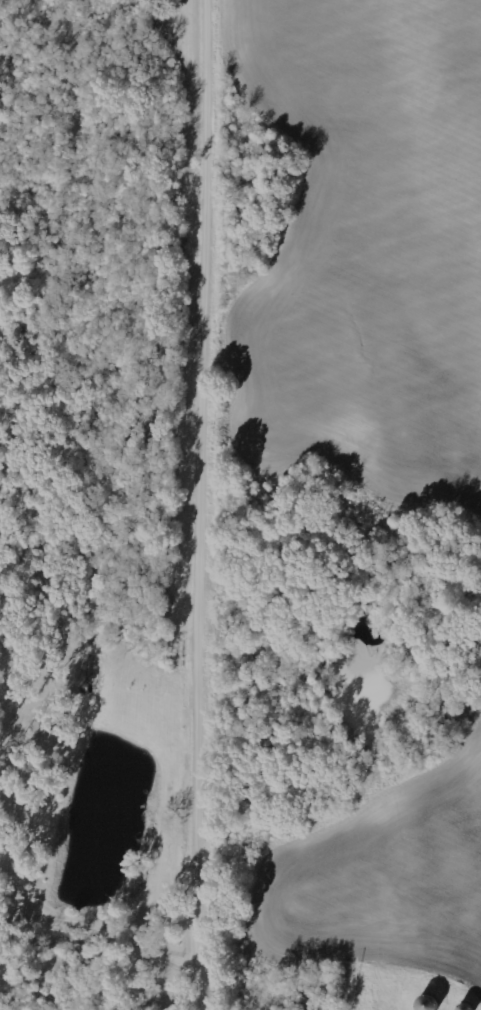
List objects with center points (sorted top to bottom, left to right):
road: (208, 505)

